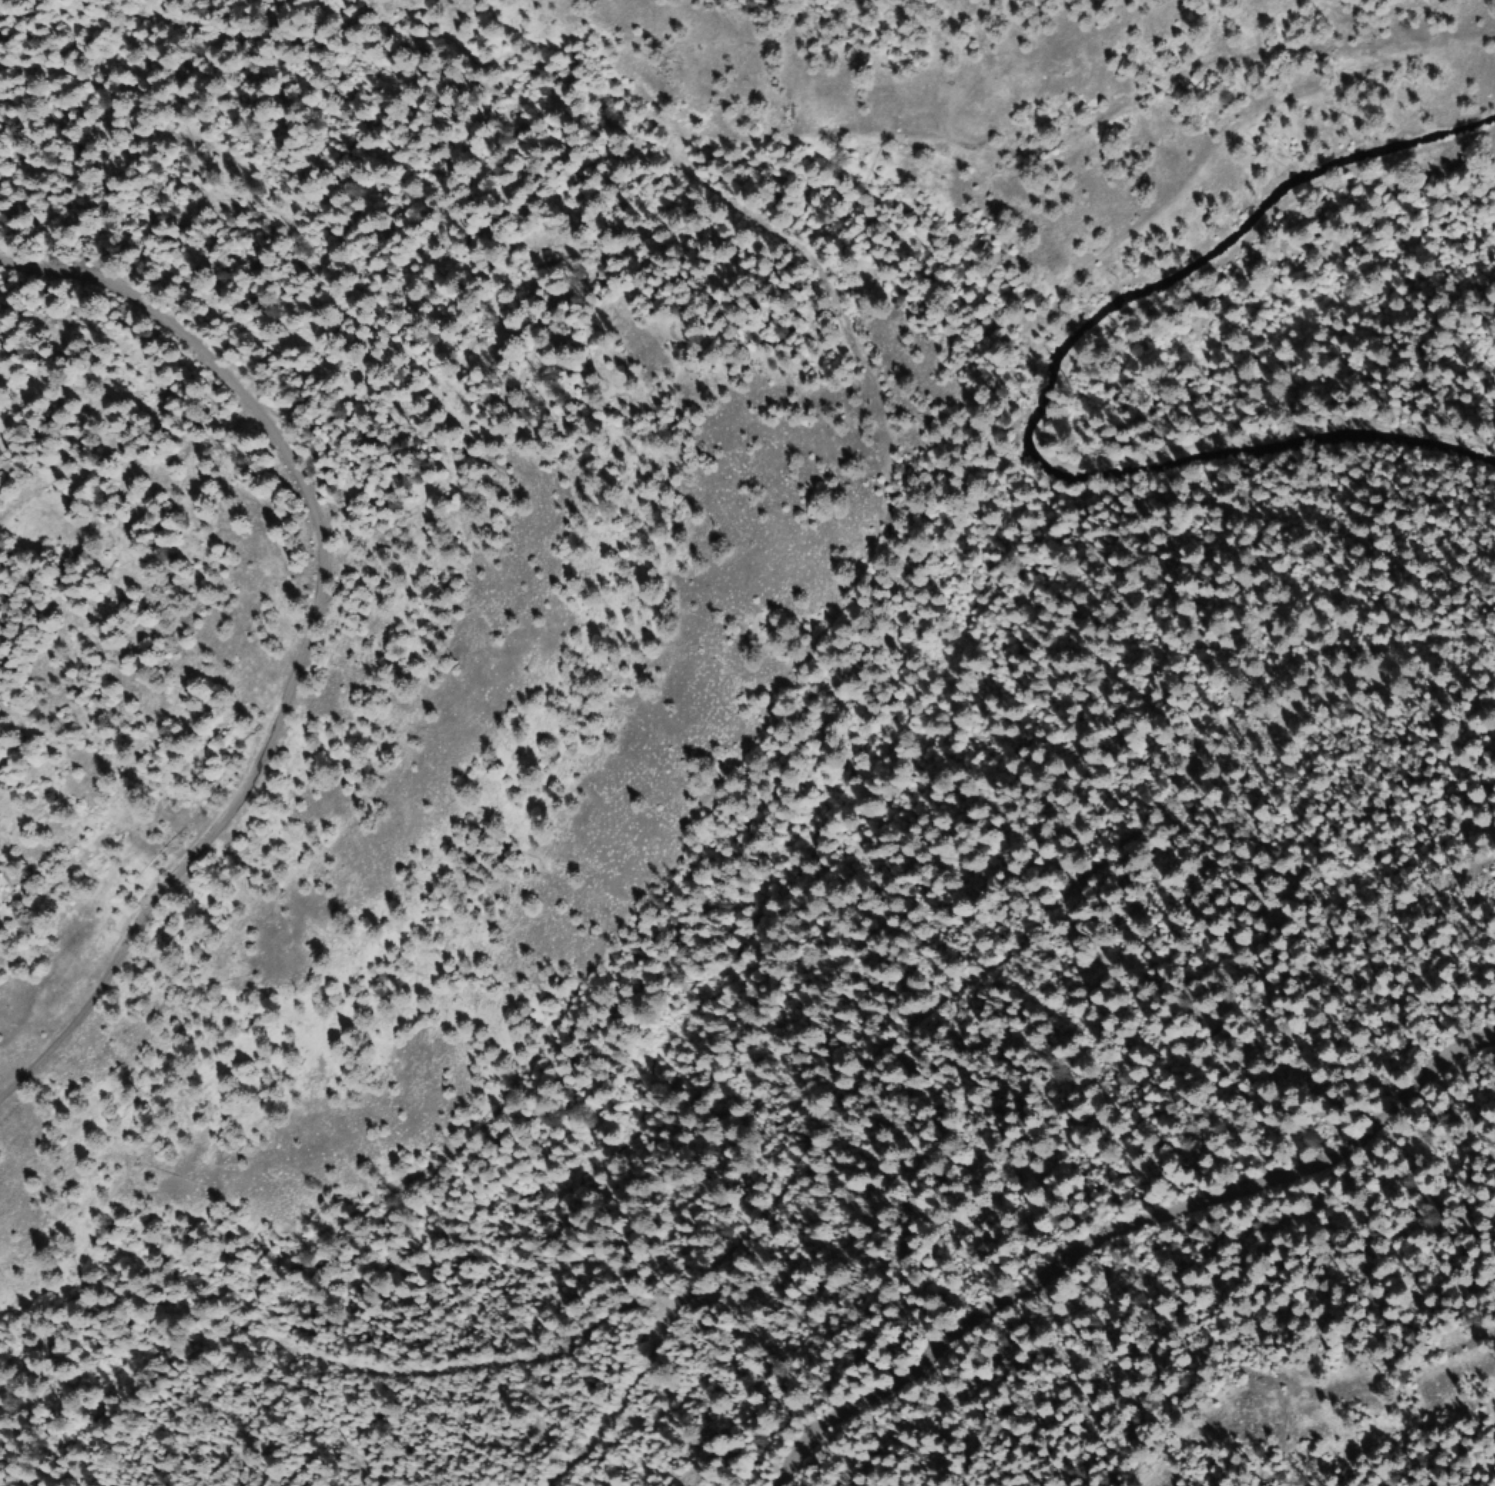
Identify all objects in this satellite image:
road: (1300, 144)
road: (334, 623)
road: (750, 787)
road: (1103, 1221)

